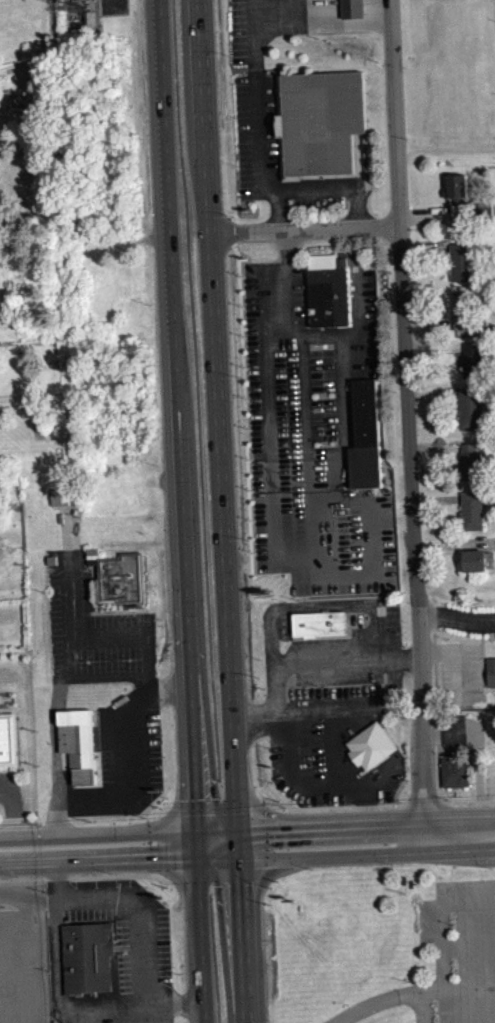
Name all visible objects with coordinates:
road: (375, 0)
road: (352, 1)
road: (317, 3)
building: (352, 8)
road: (293, 12)
road: (320, 24)
parking lot: (253, 27)
building: (320, 121)
parking lot: (271, 150)
road: (257, 164)
building: (457, 185)
road: (278, 209)
road: (304, 229)
building: (464, 260)
building: (323, 303)
building: (465, 309)
road: (214, 349)
building: (474, 359)
building: (470, 408)
building: (366, 412)
road: (408, 416)
road: (305, 418)
building: (471, 461)
building: (62, 504)
building: (471, 510)
road: (184, 511)
building: (474, 560)
building: (122, 577)
road: (455, 620)
building: (320, 623)
parking lot: (91, 626)
road: (70, 633)
building: (491, 672)
road: (147, 682)
road: (53, 715)
building: (8, 739)
building: (81, 745)
building: (371, 745)
building: (457, 770)
parking lot: (9, 780)
road: (132, 794)
road: (14, 808)
road: (215, 827)
traffic signals: (235, 827)
traffic signals: (193, 828)
road: (461, 832)
traffic signals: (237, 859)
road: (215, 860)
road: (237, 860)
traffic signals: (195, 862)
road: (112, 875)
road: (27, 877)
road: (141, 906)
road: (34, 940)
parking lot: (135, 941)
parking lot: (23, 953)
building: (88, 956)
road: (442, 964)
road: (398, 1004)
road: (61, 1006)
road: (424, 1010)
road: (360, 1017)

